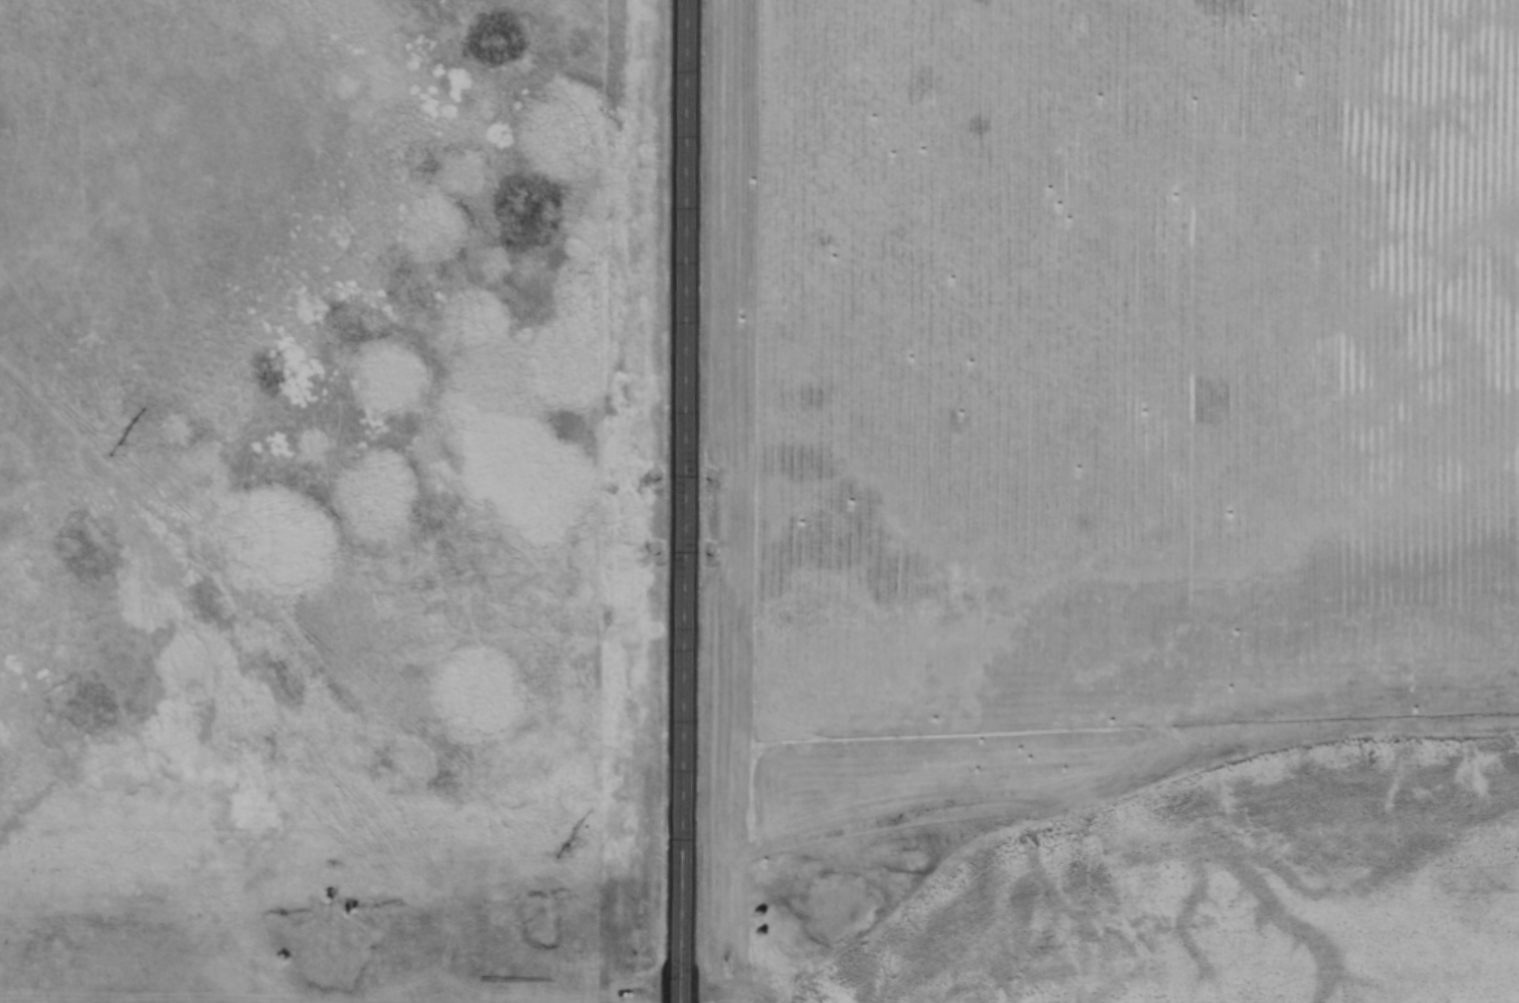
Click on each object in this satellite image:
power tower: (123, 447)
road: (687, 501)
power tower: (567, 852)

